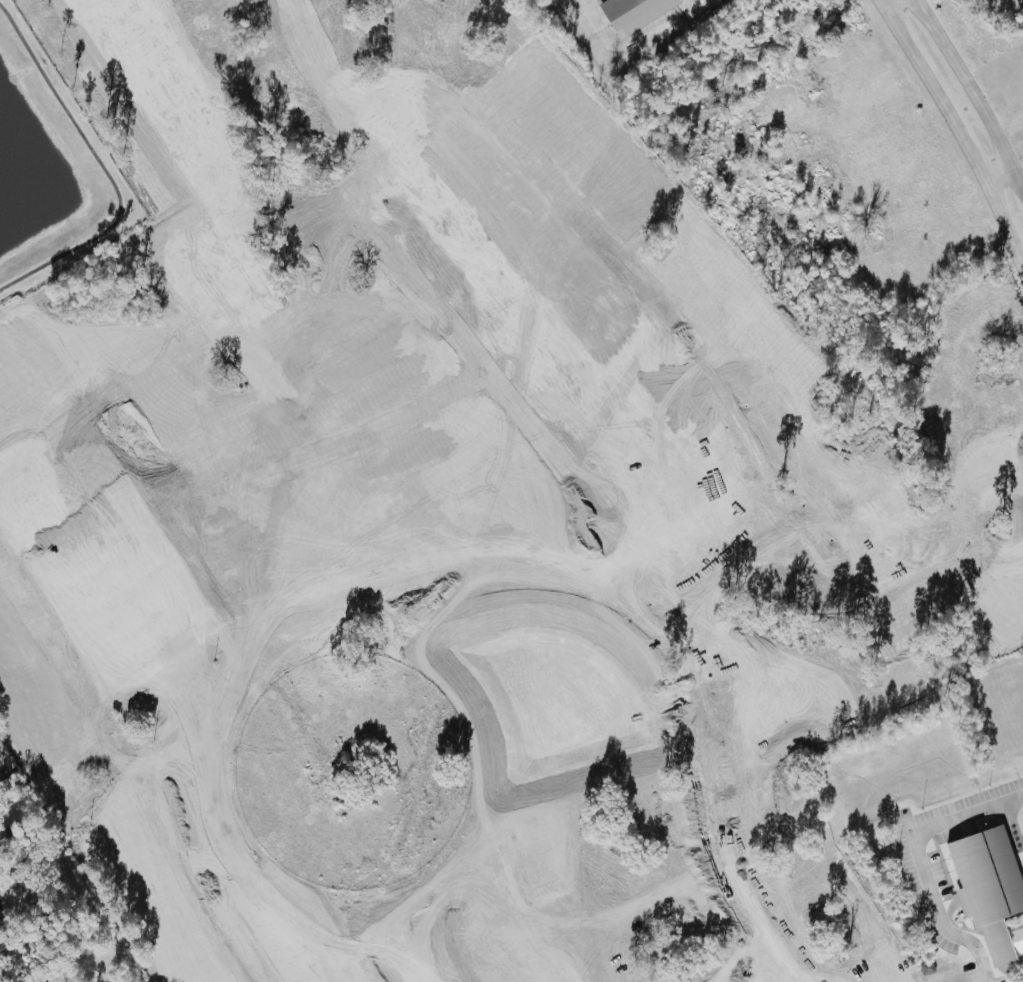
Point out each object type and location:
road: (885, 3)
building: (632, 13)
crop: (994, 41)
road: (972, 94)
road: (953, 132)
road: (107, 170)
park: (49, 172)
road: (995, 172)
road: (1020, 177)
road: (1013, 420)
road: (943, 448)
road: (794, 534)
road: (871, 613)
building: (123, 703)
building: (101, 716)
building: (77, 747)
road: (714, 804)
road: (79, 816)
building: (4, 839)
road: (926, 861)
building: (987, 887)
road: (452, 898)
building: (925, 968)

